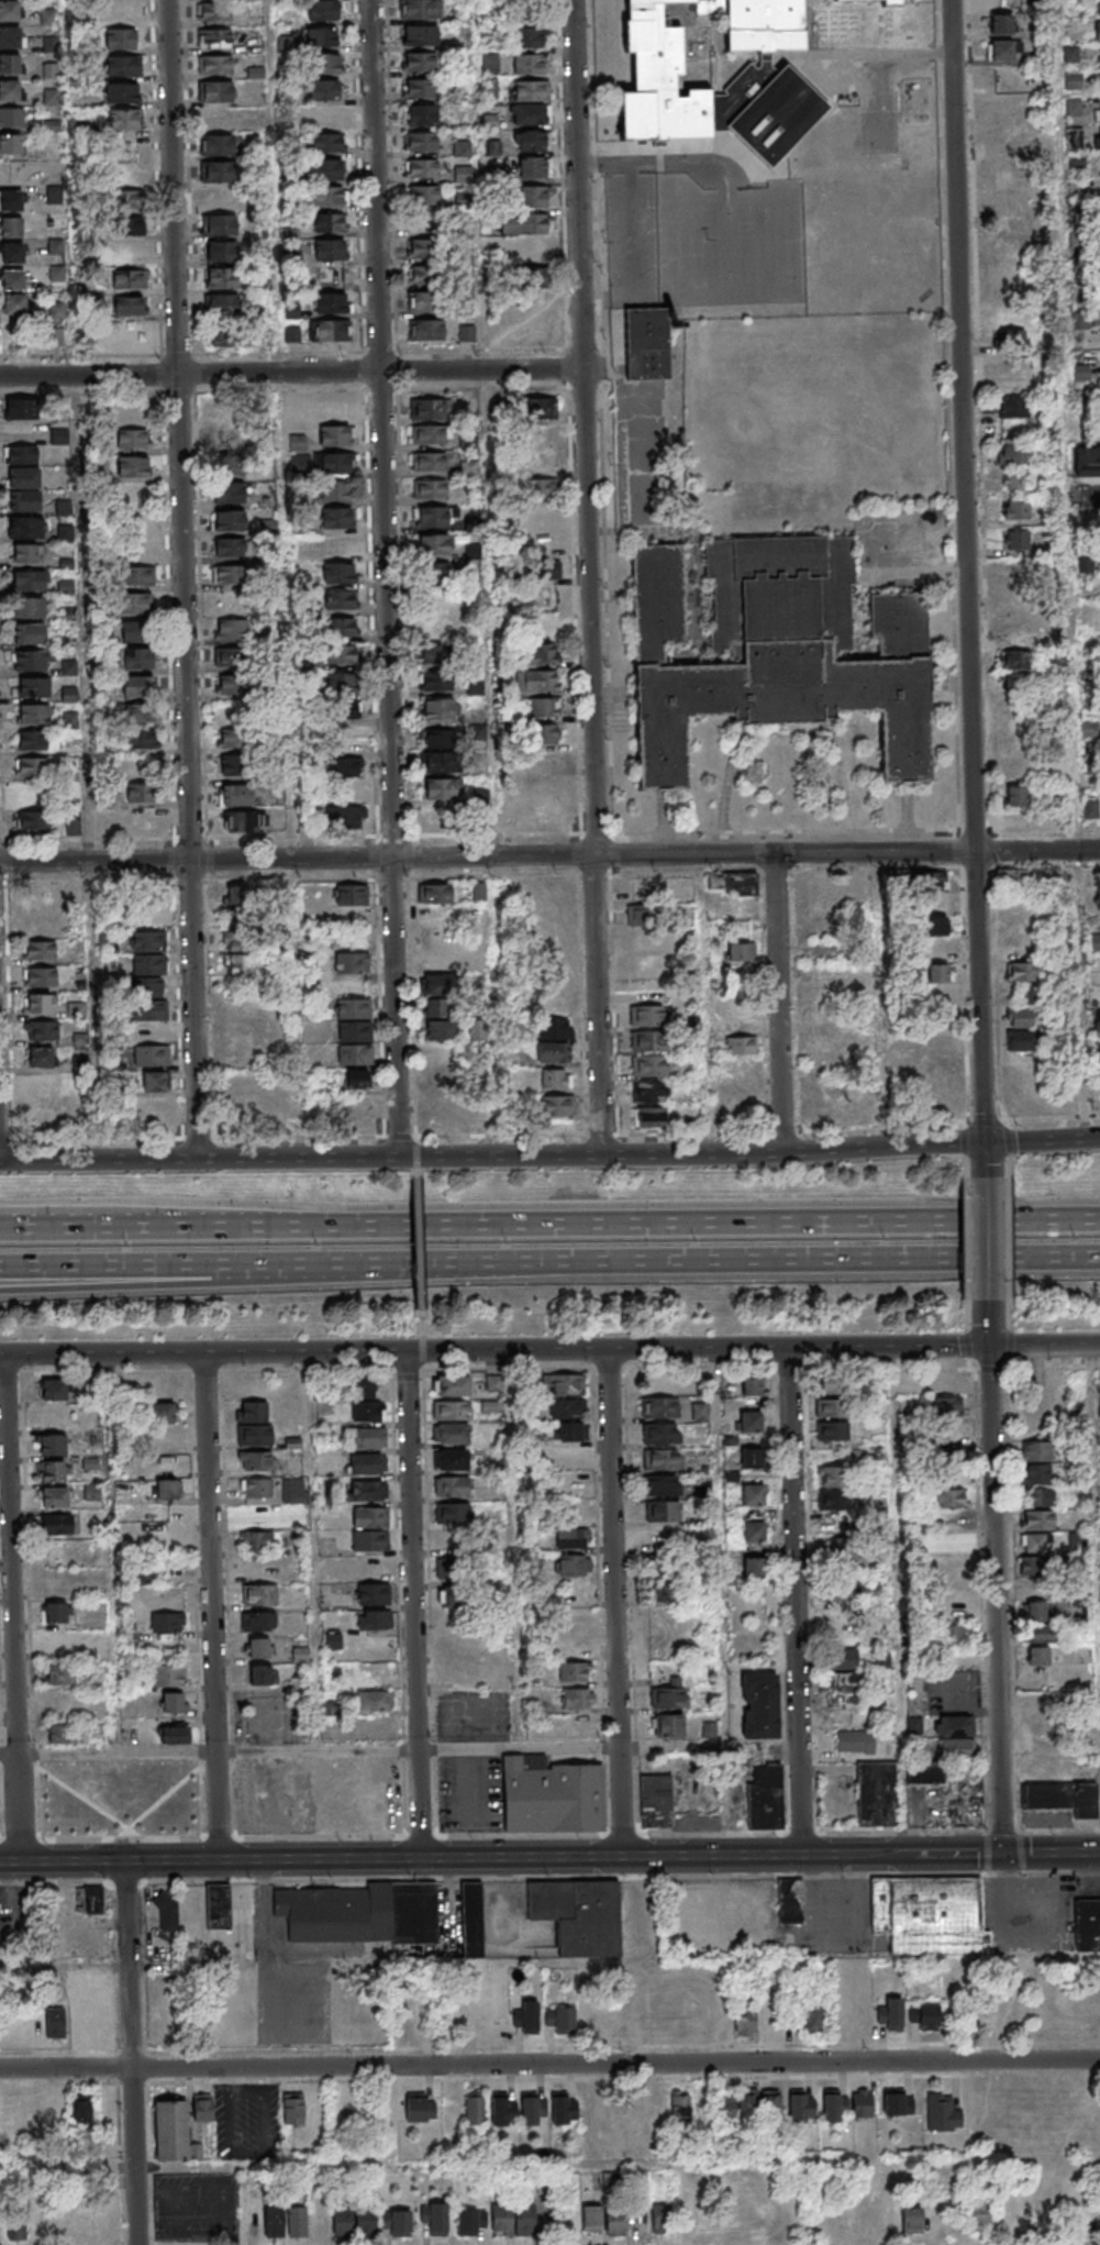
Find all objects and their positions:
building: (851, 0)
building: (892, 3)
building: (1098, 7)
building: (420, 9)
building: (9, 10)
building: (322, 10)
building: (213, 11)
building: (1000, 24)
road: (951, 26)
building: (1097, 32)
building: (420, 34)
building: (11, 36)
building: (321, 36)
building: (529, 36)
building: (213, 37)
building: (120, 38)
building: (1002, 49)
building: (419, 60)
building: (9, 63)
building: (489, 63)
building: (531, 63)
building: (214, 64)
building: (324, 64)
building: (123, 66)
building: (767, 82)
building: (420, 88)
building: (489, 88)
building: (11, 89)
building: (324, 89)
building: (214, 90)
building: (529, 90)
building: (124, 92)
building: (530, 113)
building: (421, 114)
building: (326, 115)
building: (11, 117)
building: (216, 118)
building: (125, 121)
building: (1008, 132)
building: (1098, 139)
building: (1075, 140)
building: (532, 141)
building: (327, 142)
building: (420, 142)
building: (10, 143)
building: (218, 144)
building: (460, 148)
building: (1001, 157)
road: (678, 162)
building: (534, 167)
building: (421, 168)
building: (218, 170)
building: (325, 170)
building: (53, 195)
building: (219, 197)
building: (329, 197)
building: (423, 197)
building: (533, 197)
building: (10, 199)
building: (127, 200)
building: (1010, 214)
building: (422, 221)
building: (330, 222)
building: (220, 224)
building: (127, 225)
building: (526, 225)
building: (10, 226)
road: (637, 228)
building: (330, 250)
building: (421, 250)
building: (221, 251)
building: (11, 252)
building: (533, 253)
road: (1062, 256)
building: (331, 276)
building: (421, 276)
building: (534, 277)
building: (130, 278)
building: (221, 278)
building: (13, 279)
building: (331, 302)
building: (422, 302)
building: (14, 305)
building: (222, 305)
building: (129, 306)
building: (332, 329)
building: (425, 330)
building: (466, 332)
building: (53, 336)
building: (222, 336)
building: (648, 345)
road: (291, 372)
building: (1012, 386)
building: (535, 407)
building: (21, 408)
building: (1013, 408)
building: (426, 409)
building: (131, 416)
building: (336, 434)
building: (430, 434)
building: (226, 439)
building: (132, 440)
building: (297, 442)
building: (1014, 453)
building: (21, 454)
building: (540, 460)
building: (1087, 461)
building: (429, 462)
building: (300, 463)
building: (335, 463)
building: (229, 464)
building: (132, 467)
building: (22, 477)
building: (1014, 479)
building: (542, 487)
building: (429, 489)
building: (337, 490)
building: (229, 493)
road: (1085, 496)
building: (22, 500)
building: (62, 507)
building: (1016, 509)
building: (433, 516)
building: (542, 516)
building: (229, 520)
building: (334, 520)
building: (24, 528)
building: (64, 533)
building: (1016, 539)
building: (433, 543)
building: (230, 548)
building: (27, 553)
building: (545, 569)
building: (340, 573)
building: (230, 574)
building: (435, 574)
building: (136, 575)
road: (589, 577)
road: (185, 578)
road: (288, 578)
road: (386, 578)
building: (27, 579)
building: (341, 600)
building: (134, 604)
building: (29, 607)
road: (967, 616)
building: (541, 626)
building: (342, 628)
building: (435, 628)
building: (231, 629)
building: (135, 632)
building: (29, 633)
building: (1016, 635)
building: (777, 652)
building: (436, 653)
building: (342, 654)
building: (540, 654)
building: (231, 656)
building: (136, 660)
building: (1015, 660)
building: (436, 682)
building: (537, 682)
building: (1015, 682)
building: (346, 683)
building: (233, 684)
building: (136, 686)
building: (31, 687)
road: (491, 698)
building: (545, 707)
building: (437, 709)
building: (345, 710)
building: (32, 714)
building: (140, 714)
building: (548, 733)
building: (437, 739)
building: (33, 740)
building: (140, 740)
building: (233, 740)
building: (549, 761)
building: (437, 762)
building: (32, 766)
building: (236, 766)
road: (88, 767)
building: (344, 771)
building: (549, 786)
building: (442, 788)
building: (142, 793)
building: (31, 795)
building: (235, 796)
building: (1015, 797)
building: (1091, 808)
building: (549, 814)
building: (440, 815)
road: (1077, 817)
building: (142, 819)
building: (343, 819)
building: (32, 820)
building: (244, 821)
building: (1010, 821)
building: (73, 825)
building: (101, 826)
road: (549, 855)
building: (1012, 876)
building: (737, 883)
building: (434, 893)
building: (235, 895)
building: (351, 895)
building: (936, 903)
building: (642, 915)
building: (237, 918)
building: (936, 926)
building: (236, 941)
building: (937, 948)
building: (1023, 948)
building: (38, 950)
building: (741, 953)
building: (147, 962)
building: (240, 964)
building: (351, 964)
building: (1022, 971)
building: (938, 973)
building: (40, 976)
building: (437, 994)
building: (1029, 994)
road: (780, 1002)
building: (37, 1003)
building: (937, 1006)
building: (76, 1009)
building: (240, 1009)
building: (149, 1010)
building: (648, 1015)
building: (1022, 1017)
building: (556, 1029)
building: (42, 1030)
building: (441, 1031)
building: (479, 1031)
building: (354, 1033)
building: (647, 1040)
building: (1023, 1040)
building: (149, 1044)
building: (741, 1044)
building: (831, 1048)
building: (553, 1052)
building: (40, 1057)
building: (941, 1063)
building: (649, 1065)
building: (556, 1079)
building: (353, 1080)
building: (440, 1080)
building: (153, 1081)
building: (941, 1086)
building: (648, 1091)
building: (556, 1105)
building: (43, 1110)
building: (649, 1116)
road: (401, 1136)
road: (300, 1137)
road: (99, 1138)
road: (199, 1138)
road: (8, 1140)
road: (1041, 1140)
road: (416, 1147)
road: (907, 1147)
road: (624, 1154)
road: (201, 1158)
road: (410, 1158)
road: (416, 1164)
road: (701, 1228)
road: (151, 1229)
road: (986, 1240)
road: (420, 1251)
road: (549, 1267)
road: (107, 1281)
road: (423, 1340)
road: (1043, 1345)
road: (705, 1349)
road: (211, 1352)
road: (423, 1361)
building: (493, 1383)
building: (564, 1384)
building: (451, 1385)
building: (833, 1385)
building: (363, 1386)
building: (751, 1386)
building: (54, 1391)
building: (831, 1407)
building: (946, 1407)
building: (565, 1408)
building: (658, 1408)
building: (451, 1409)
building: (370, 1411)
building: (252, 1412)
building: (699, 1412)
building: (160, 1413)
building: (749, 1423)
building: (568, 1430)
building: (832, 1430)
building: (452, 1431)
building: (660, 1434)
building: (254, 1435)
building: (168, 1436)
building: (370, 1436)
building: (51, 1444)
road: (1097, 1446)
building: (1035, 1451)
building: (947, 1456)
building: (453, 1458)
building: (662, 1459)
building: (751, 1459)
building: (256, 1460)
building: (164, 1462)
building: (369, 1462)
building: (88, 1464)
building: (51, 1470)
building: (1036, 1473)
building: (832, 1477)
building: (454, 1485)
building: (660, 1485)
building: (256, 1486)
building: (166, 1489)
building: (368, 1490)
building: (90, 1492)
building: (753, 1495)
building: (1037, 1496)
building: (53, 1497)
building: (951, 1497)
building: (833, 1501)
building: (663, 1511)
building: (455, 1513)
building: (256, 1514)
building: (373, 1517)
building: (1038, 1518)
building: (55, 1524)
building: (753, 1533)
building: (571, 1539)
building: (256, 1540)
building: (371, 1540)
building: (1036, 1541)
building: (953, 1544)
road: (722, 1548)
road: (518, 1549)
building: (842, 1549)
road: (311, 1550)
building: (370, 1566)
building: (573, 1566)
building: (662, 1566)
building: (1029, 1566)
building: (454, 1568)
building: (754, 1568)
road: (993, 1578)
building: (663, 1591)
building: (373, 1593)
building: (259, 1594)
building: (457, 1597)
road: (899, 1601)
road: (798, 1602)
road: (619, 1603)
road: (416, 1605)
road: (212, 1606)
road: (14, 1607)
building: (55, 1612)
building: (1035, 1612)
building: (371, 1619)
building: (257, 1621)
building: (166, 1623)
building: (1042, 1635)
building: (954, 1636)
building: (56, 1644)
building: (259, 1648)
building: (1038, 1656)
building: (843, 1659)
building: (881, 1661)
building: (574, 1672)
building: (259, 1674)
building: (56, 1676)
building: (166, 1676)
building: (843, 1681)
building: (669, 1694)
building: (577, 1699)
building: (374, 1701)
building: (171, 1702)
building: (760, 1705)
building: (866, 1713)
building: (914, 1724)
building: (668, 1725)
building: (954, 1725)
building: (1038, 1725)
building: (371, 1729)
building: (709, 1729)
building: (174, 1733)
building: (57, 1736)
building: (855, 1740)
road: (611, 1748)
building: (955, 1748)
road: (210, 1749)
building: (1040, 1749)
building: (925, 1773)
building: (359, 1793)
building: (877, 1793)
building: (554, 1795)
building: (765, 1796)
building: (1064, 1798)
building: (656, 1802)
traffic signals: (1001, 1854)
road: (549, 1857)
building: (88, 1899)
building: (791, 1901)
building: (167, 1912)
building: (359, 1913)
building: (579, 1914)
building: (933, 1915)
building: (471, 1918)
building: (230, 1922)
building: (1089, 1925)
road: (615, 1965)
road: (66, 1969)
building: (92, 2003)
building: (890, 2014)
building: (813, 2016)
building: (924, 2016)
building: (526, 2017)
building: (560, 2020)
building: (745, 2021)
building: (57, 2023)
road: (133, 2053)
road: (549, 2062)
building: (898, 2101)
building: (862, 2102)
building: (835, 2104)
building: (748, 2105)
building: (770, 2105)
building: (801, 2105)
building: (725, 2106)
building: (202, 2108)
building: (420, 2108)
building: (477, 2108)
building: (503, 2108)
building: (533, 2108)
building: (564, 2108)
building: (81, 2109)
building: (293, 2109)
building: (680, 2109)
building: (34, 2110)
building: (942, 2112)
building: (170, 2131)
road: (549, 2161)
building: (662, 2216)
building: (979, 2216)
building: (592, 2218)
building: (504, 2219)
building: (912, 2219)
building: (274, 2220)
building: (441, 2220)
building: (527, 2220)
building: (297, 2221)
building: (320, 2221)
building: (355, 2222)
building: (471, 2222)
building: (615, 2222)
building: (16, 2224)
building: (403, 2224)

